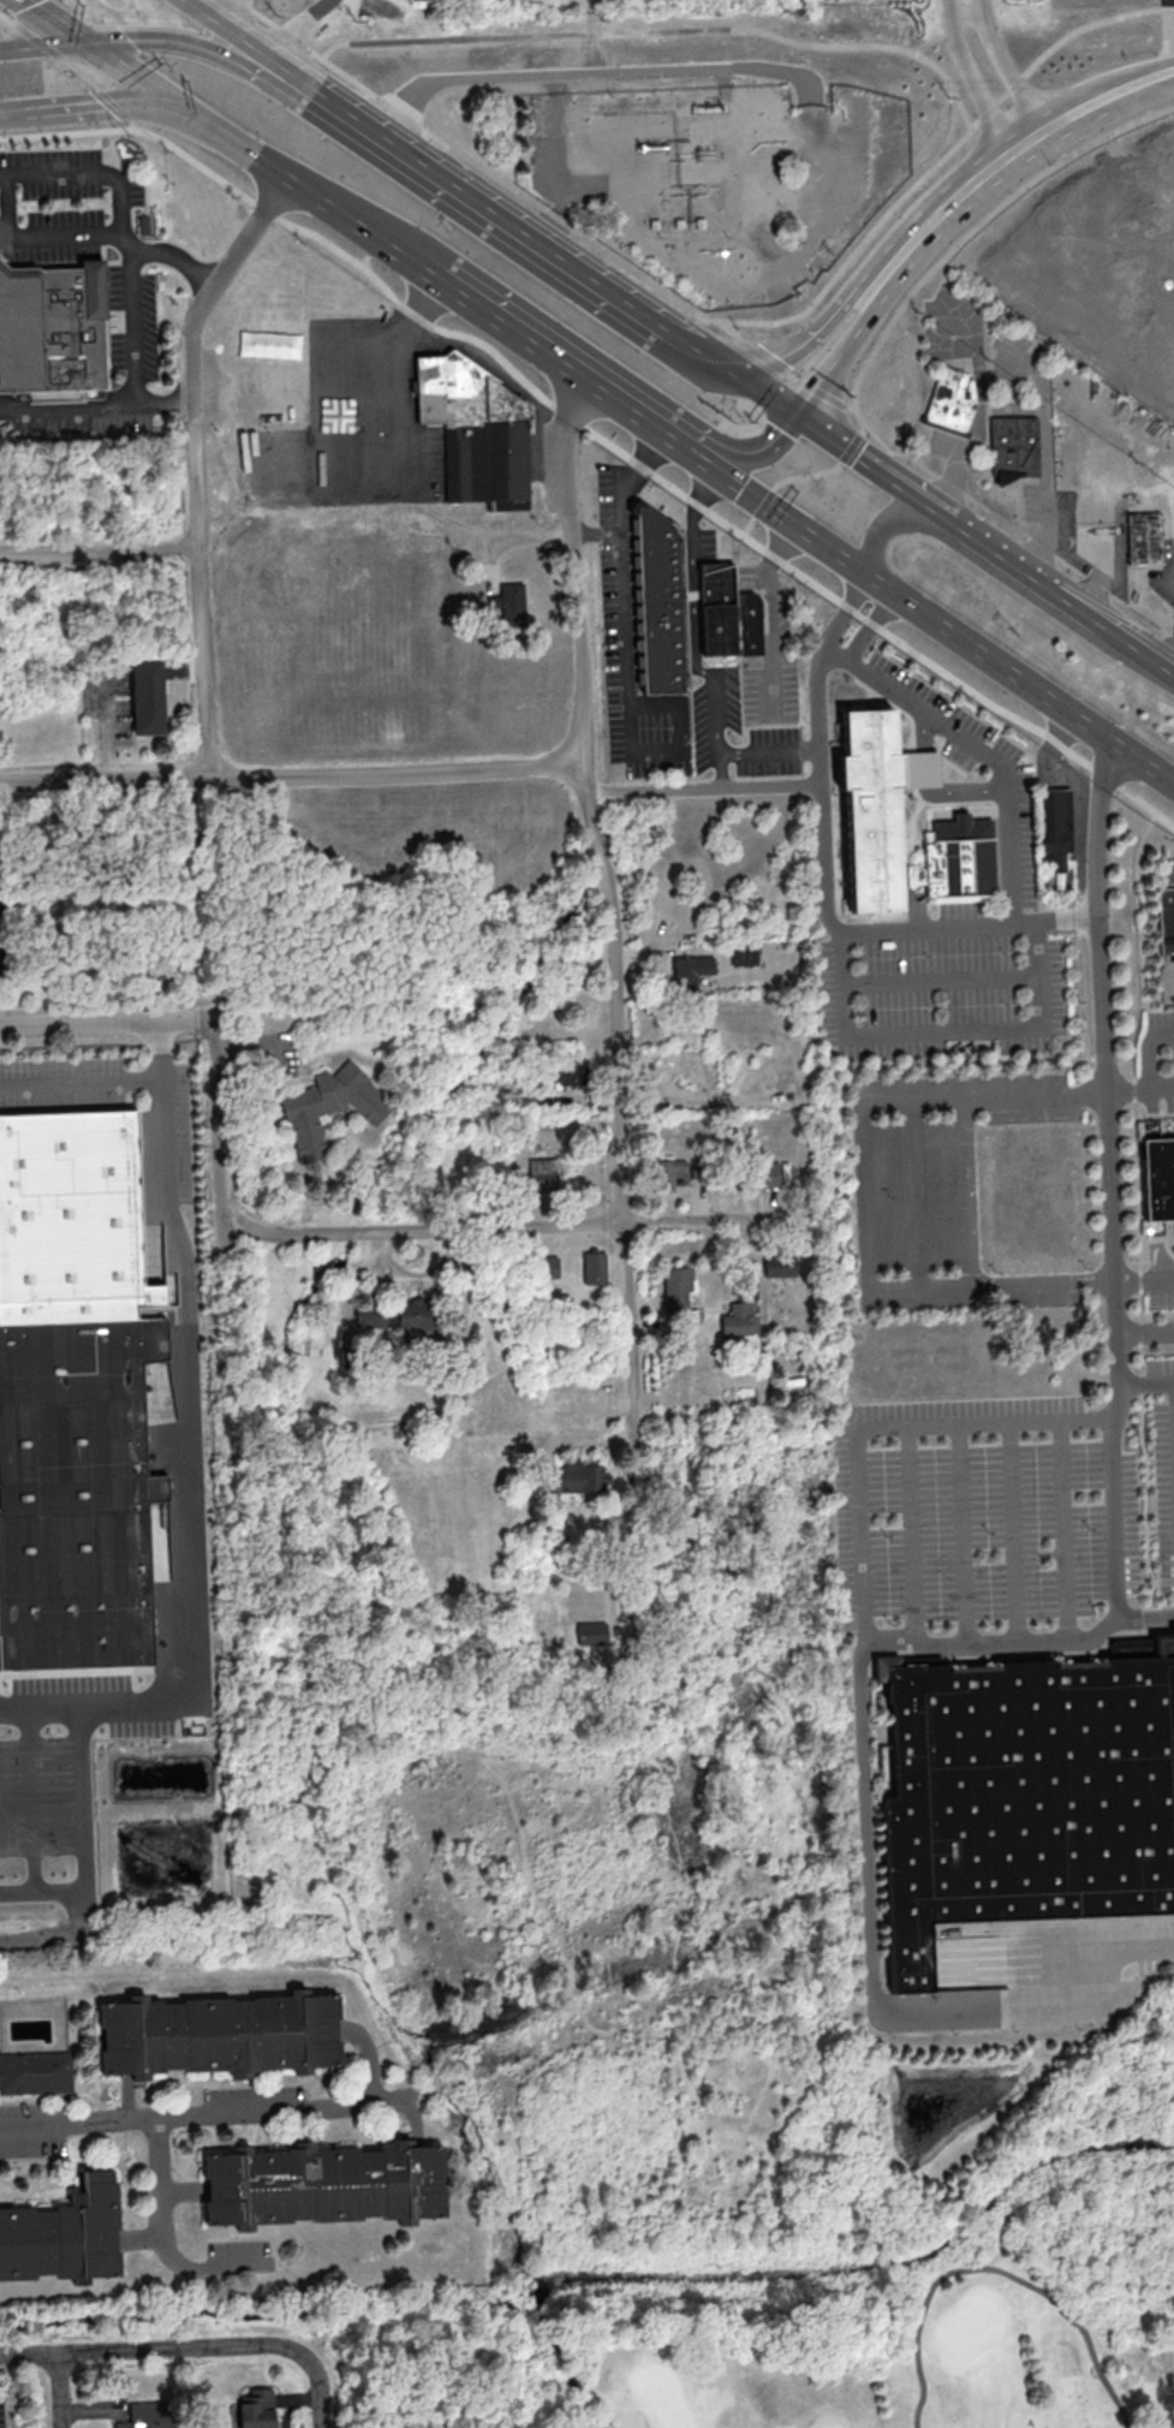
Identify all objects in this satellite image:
road: (192, 1)
road: (228, 11)
road: (976, 16)
road: (7, 18)
road: (288, 31)
road: (242, 37)
road: (83, 38)
road: (786, 38)
road: (590, 40)
road: (41, 41)
road: (44, 44)
traffic signals: (90, 44)
road: (221, 55)
road: (1013, 72)
road: (84, 73)
road: (604, 78)
road: (981, 82)
road: (564, 89)
road: (320, 91)
traffic signals: (168, 101)
road: (121, 106)
road: (84, 108)
road: (400, 145)
road: (1036, 148)
road: (567, 154)
road: (88, 171)
road: (279, 172)
road: (10, 202)
parking lot: (65, 204)
road: (489, 208)
road: (979, 222)
road: (561, 230)
road: (60, 236)
road: (169, 252)
road: (618, 258)
road: (596, 281)
road: (838, 322)
building: (53, 326)
road: (733, 331)
road: (863, 335)
road: (550, 356)
road: (737, 375)
road: (793, 375)
traffic signals: (746, 381)
road: (135, 392)
road: (162, 400)
building: (953, 405)
road: (401, 413)
road: (984, 415)
traffic signals: (803, 419)
building: (476, 432)
road: (598, 434)
building: (1015, 450)
road: (750, 460)
road: (195, 464)
road: (835, 465)
road: (1048, 465)
road: (726, 466)
road: (876, 468)
road: (781, 482)
road: (625, 504)
road: (756, 511)
road: (892, 520)
road: (1006, 523)
building: (1146, 537)
road: (99, 553)
road: (1039, 581)
building: (508, 601)
building: (657, 605)
road: (846, 612)
road: (929, 612)
building: (728, 613)
road: (769, 615)
road: (698, 617)
road: (870, 623)
road: (1152, 656)
building: (150, 698)
road: (633, 716)
road: (108, 731)
road: (928, 733)
road: (985, 751)
road: (759, 754)
building: (920, 767)
road: (929, 767)
road: (291, 776)
road: (704, 786)
road: (966, 792)
road: (824, 793)
building: (874, 808)
building: (1057, 828)
building: (959, 859)
road: (608, 907)
road: (1065, 918)
building: (1167, 918)
building: (743, 953)
building: (689, 971)
road: (937, 981)
road: (107, 1020)
road: (841, 1040)
road: (160, 1048)
road: (1148, 1049)
parking lot: (1158, 1053)
road: (1103, 1057)
building: (571, 1070)
road: (148, 1078)
road: (1161, 1087)
road: (1126, 1088)
building: (328, 1106)
road: (221, 1141)
parking lot: (173, 1156)
building: (666, 1172)
building: (541, 1173)
building: (765, 1174)
building: (1158, 1177)
road: (969, 1191)
road: (914, 1194)
road: (865, 1213)
road: (1137, 1218)
building: (72, 1220)
road: (511, 1226)
building: (779, 1264)
building: (547, 1266)
building: (594, 1267)
road: (1162, 1279)
parking lot: (1158, 1287)
building: (675, 1290)
building: (413, 1315)
building: (373, 1316)
building: (739, 1319)
road: (1145, 1331)
road: (1156, 1352)
road: (1126, 1379)
road: (1154, 1382)
road: (594, 1440)
road: (190, 1456)
building: (577, 1475)
building: (76, 1495)
parking lot: (1005, 1510)
road: (1114, 1522)
road: (1062, 1534)
road: (1013, 1536)
road: (911, 1537)
road: (961, 1539)
building: (591, 1632)
road: (1021, 1647)
road: (99, 1706)
road: (863, 1721)
parking lot: (58, 1786)
building: (1029, 1797)
road: (32, 1801)
road: (83, 1841)
road: (85, 1915)
road: (42, 1939)
building: (949, 1957)
building: (221, 2037)
road: (222, 2040)
road: (374, 2057)
building: (40, 2073)
parking lot: (260, 2099)
road: (139, 2100)
parking lot: (35, 2113)
road: (213, 2117)
road: (413, 2123)
parking lot: (34, 2140)
road: (166, 2177)
road: (330, 2184)
road: (184, 2186)
building: (323, 2188)
road: (141, 2238)
building: (59, 2239)
road: (56, 2244)
parking lot: (242, 2250)
road: (214, 2265)
road: (996, 2272)
park: (941, 2297)
river: (335, 2307)
road: (150, 2351)
park: (429, 2372)
road: (320, 2388)
road: (60, 2391)
building: (255, 2409)
building: (145, 2415)

